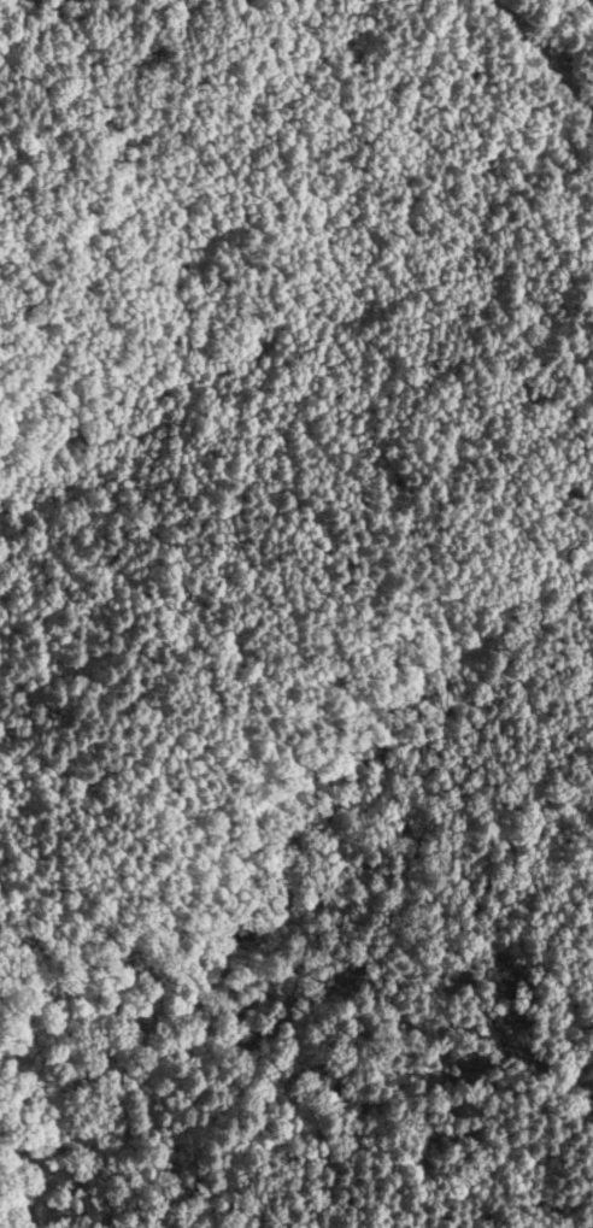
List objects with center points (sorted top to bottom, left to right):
road: (540, 57)

